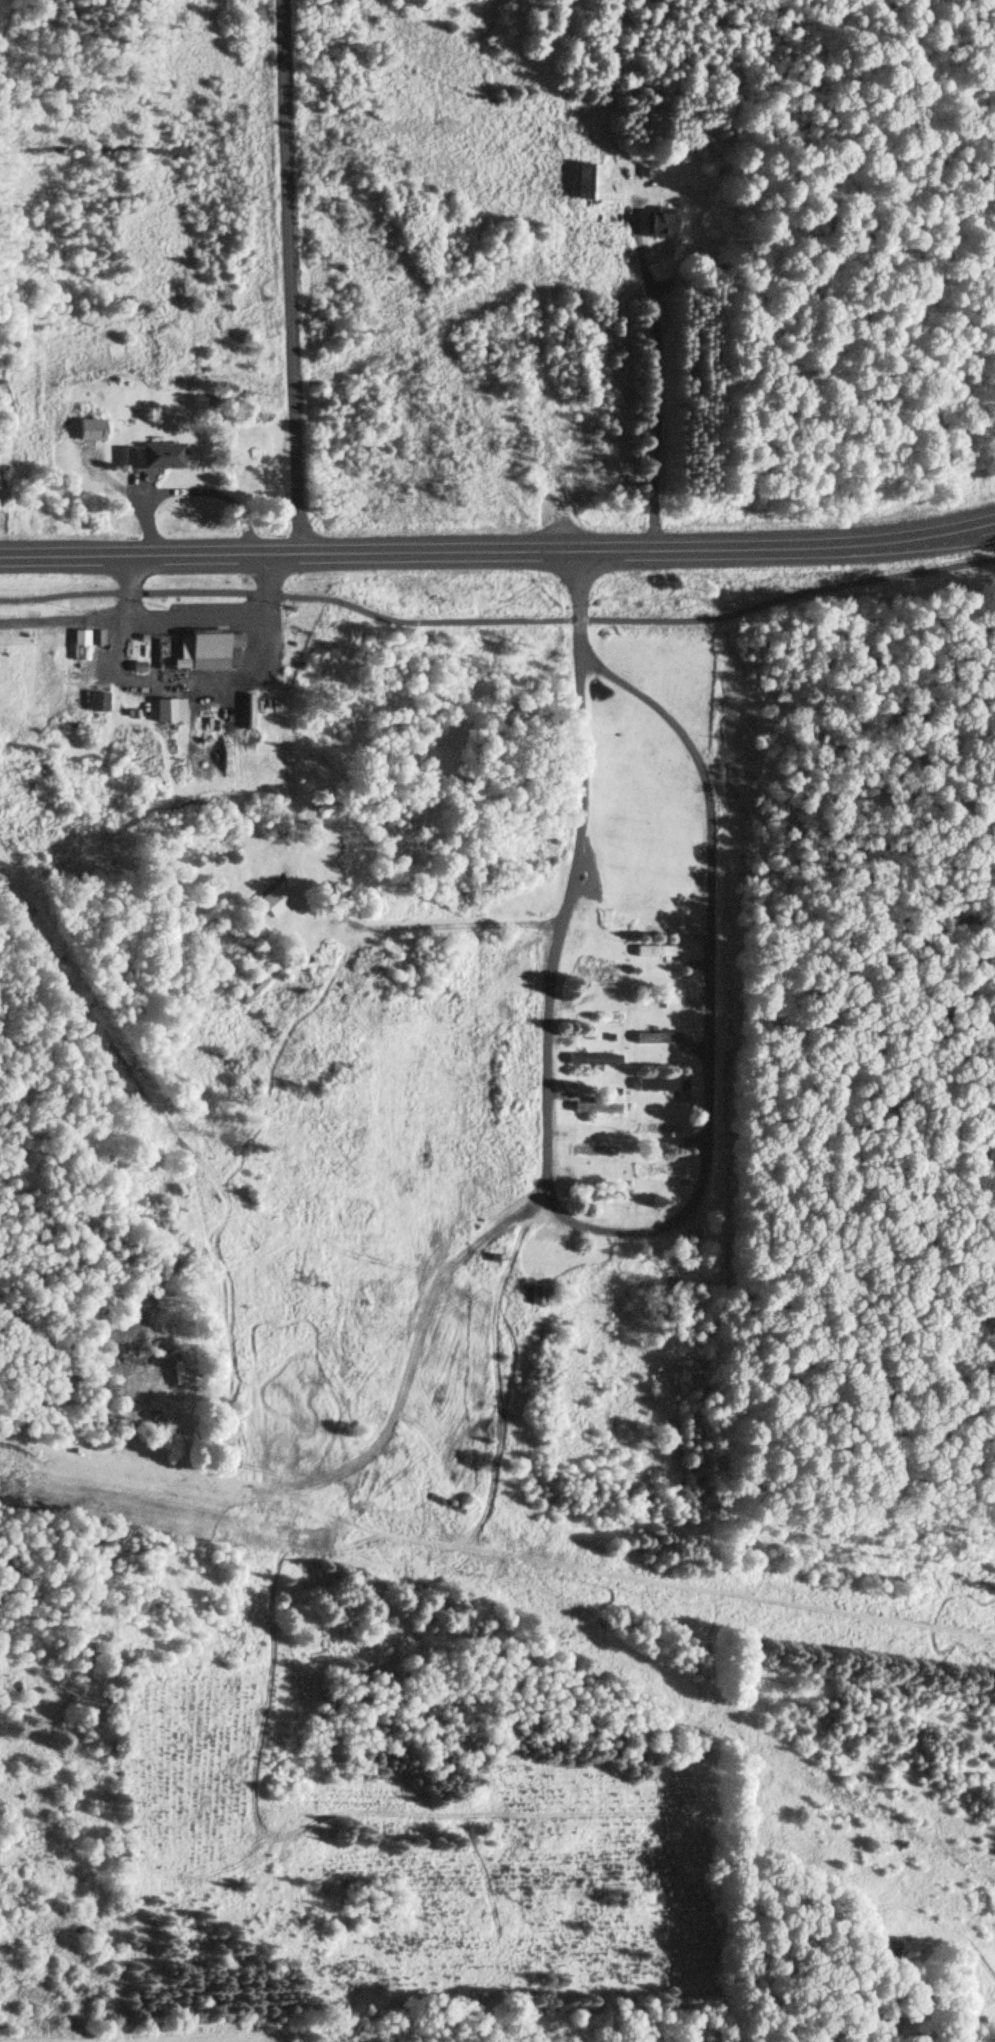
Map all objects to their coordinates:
building: (585, 184)
building: (657, 225)
road: (288, 278)
road: (659, 381)
building: (87, 432)
building: (148, 458)
road: (498, 554)
road: (578, 605)
road: (189, 611)
road: (498, 623)
building: (203, 651)
building: (94, 703)
building: (165, 711)
building: (245, 712)
building: (273, 901)
building: (654, 949)
building: (593, 970)
building: (655, 1036)
building: (587, 1059)
building: (658, 1084)
building: (592, 1106)
building: (658, 1126)
building: (589, 1148)
building: (654, 1169)
road: (607, 1233)
building: (533, 1296)
building: (173, 1379)
building: (393, 1471)

